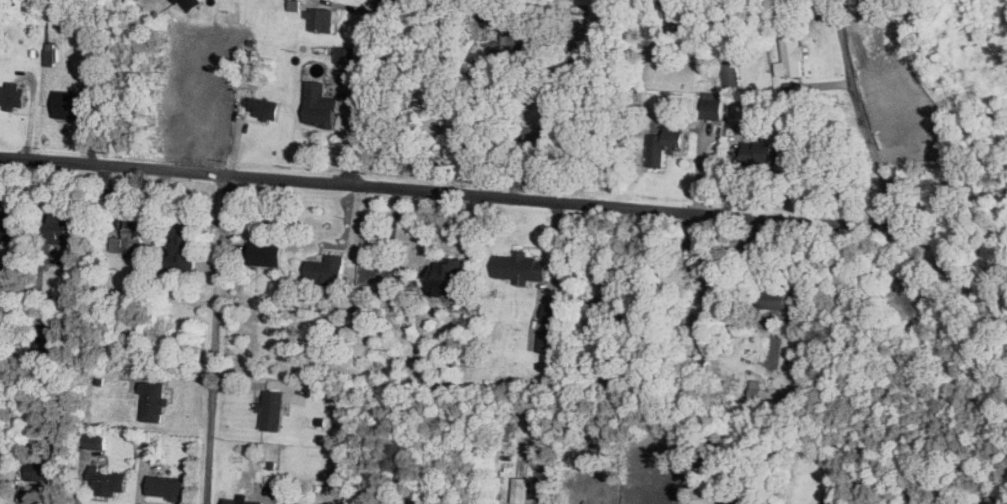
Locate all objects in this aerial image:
building: (188, 5)
road: (379, 6)
building: (320, 21)
building: (512, 45)
building: (345, 54)
building: (50, 56)
building: (791, 56)
building: (730, 71)
road: (363, 86)
building: (12, 95)
building: (201, 95)
building: (69, 105)
building: (318, 105)
building: (711, 106)
building: (263, 109)
building: (419, 114)
road: (862, 116)
building: (533, 136)
building: (663, 145)
building: (758, 154)
road: (447, 192)
building: (58, 228)
building: (9, 230)
building: (129, 238)
building: (182, 250)
building: (266, 252)
building: (519, 267)
building: (325, 269)
building: (445, 277)
building: (777, 299)
building: (551, 313)
road: (217, 338)
building: (548, 341)
building: (49, 346)
building: (151, 402)
building: (272, 410)
building: (94, 440)
building: (39, 471)
building: (107, 482)
road: (548, 485)
road: (140, 487)
building: (165, 487)
building: (519, 490)
building: (240, 501)
building: (289, 503)
building: (724, 503)

